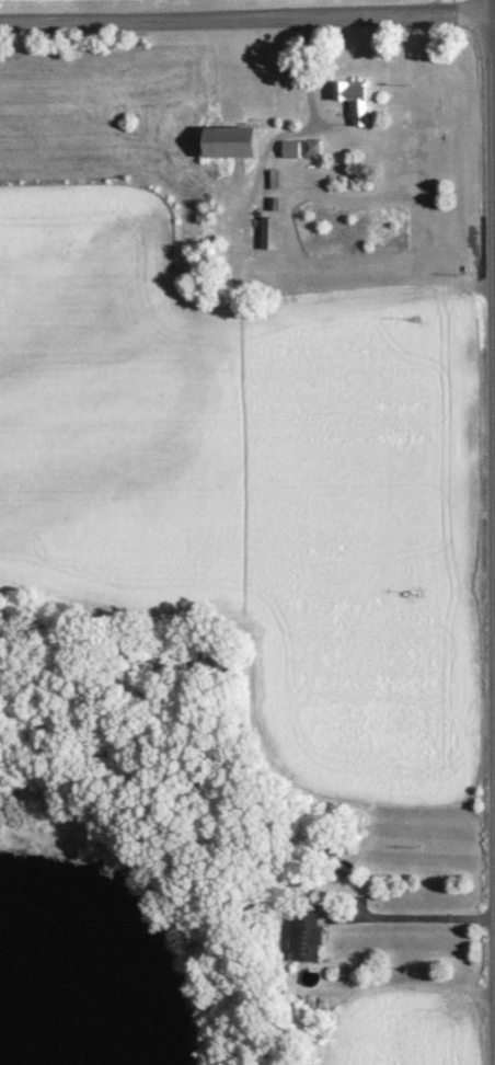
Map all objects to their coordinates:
road: (248, 22)
building: (355, 104)
building: (230, 147)
building: (291, 153)
road: (421, 920)
building: (310, 939)

